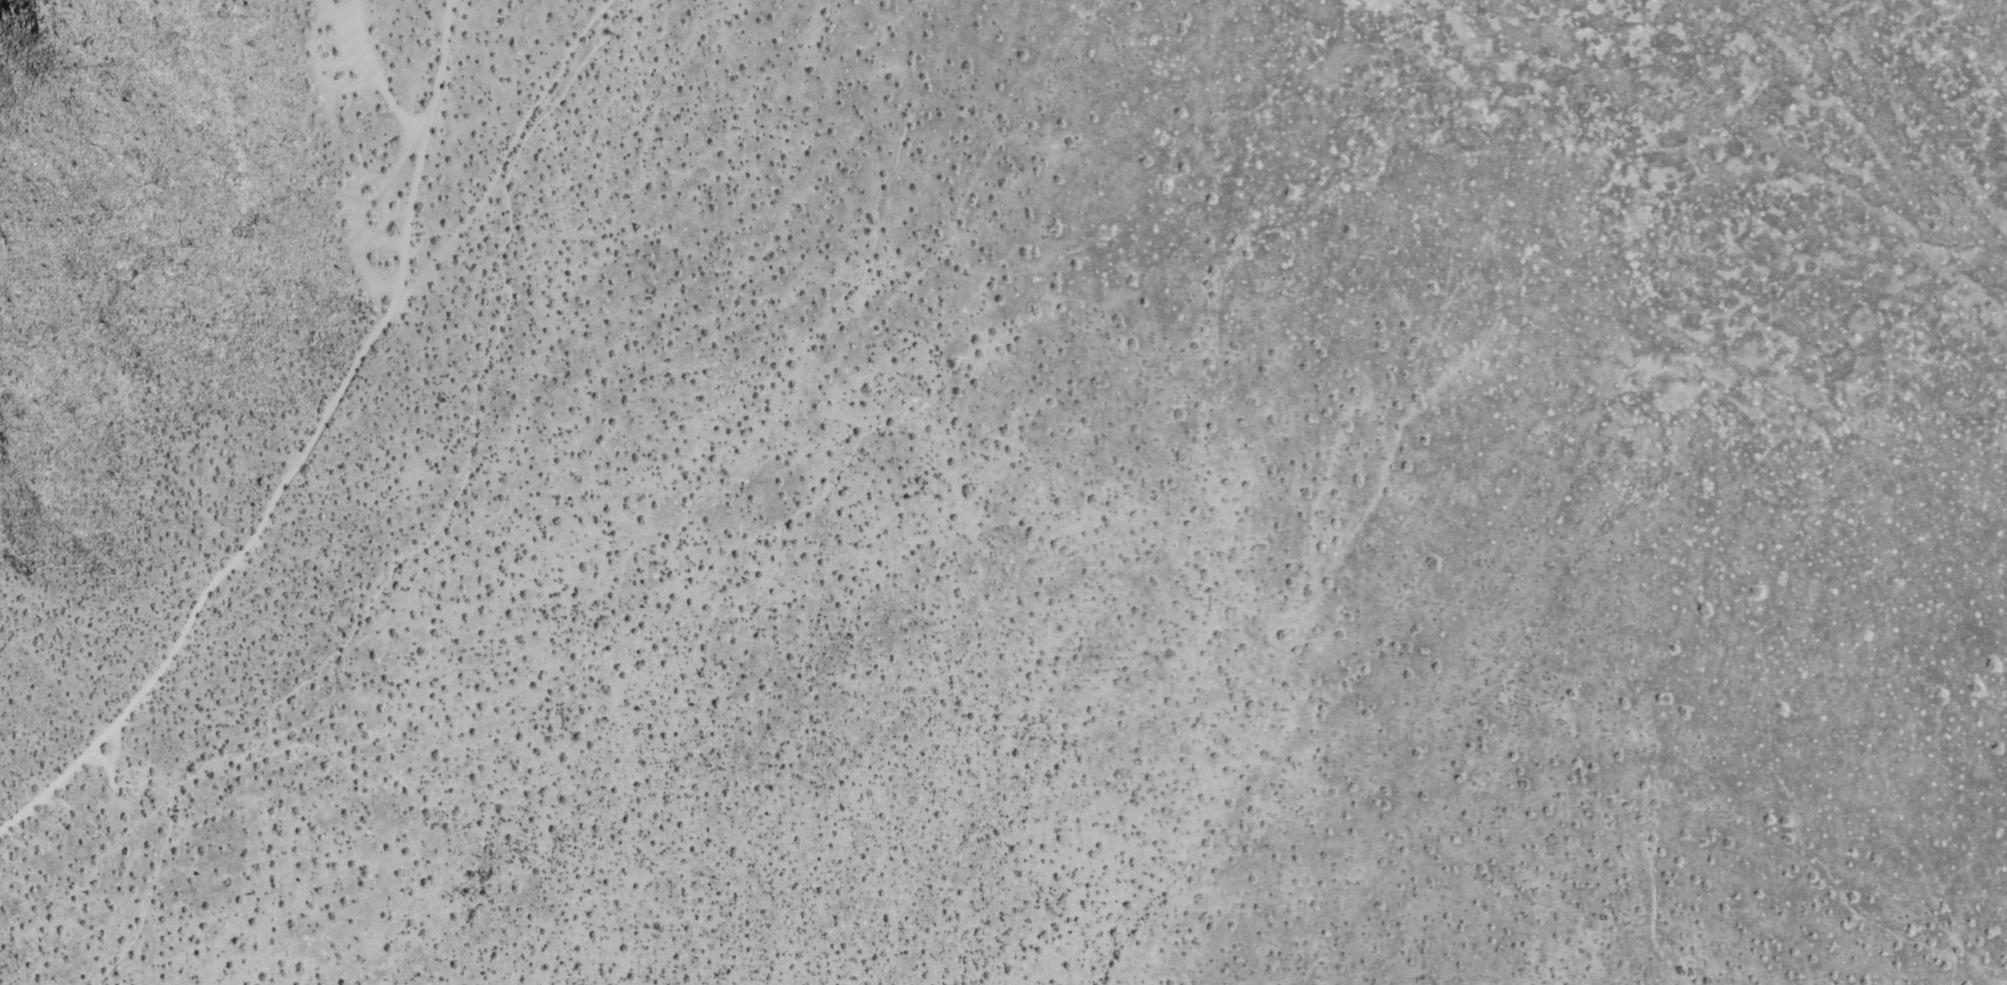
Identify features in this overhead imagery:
road: (507, 153)
airport runway: (1865, 161)
road: (300, 453)

